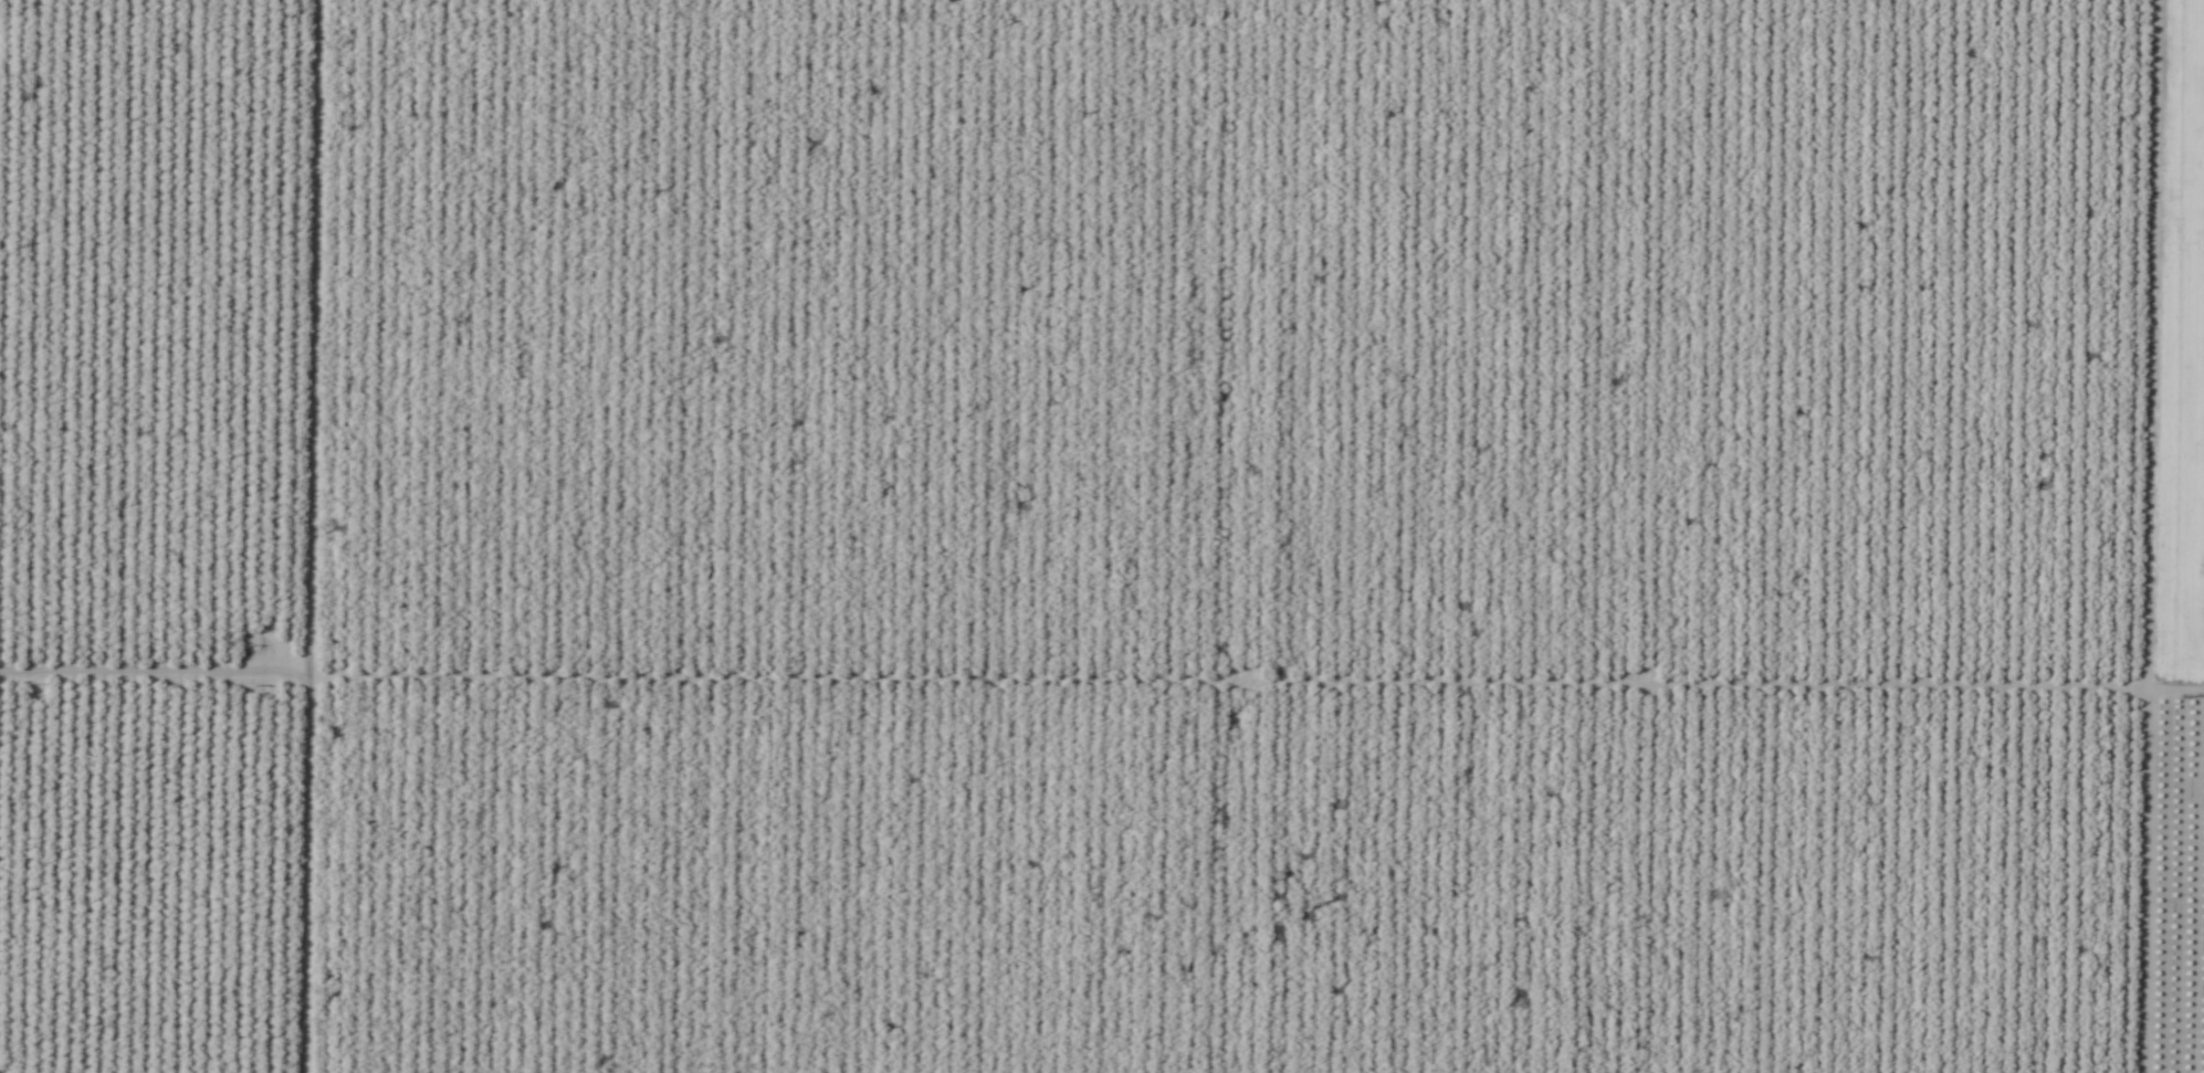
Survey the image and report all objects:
crop: (2174, 357)
road: (324, 536)

